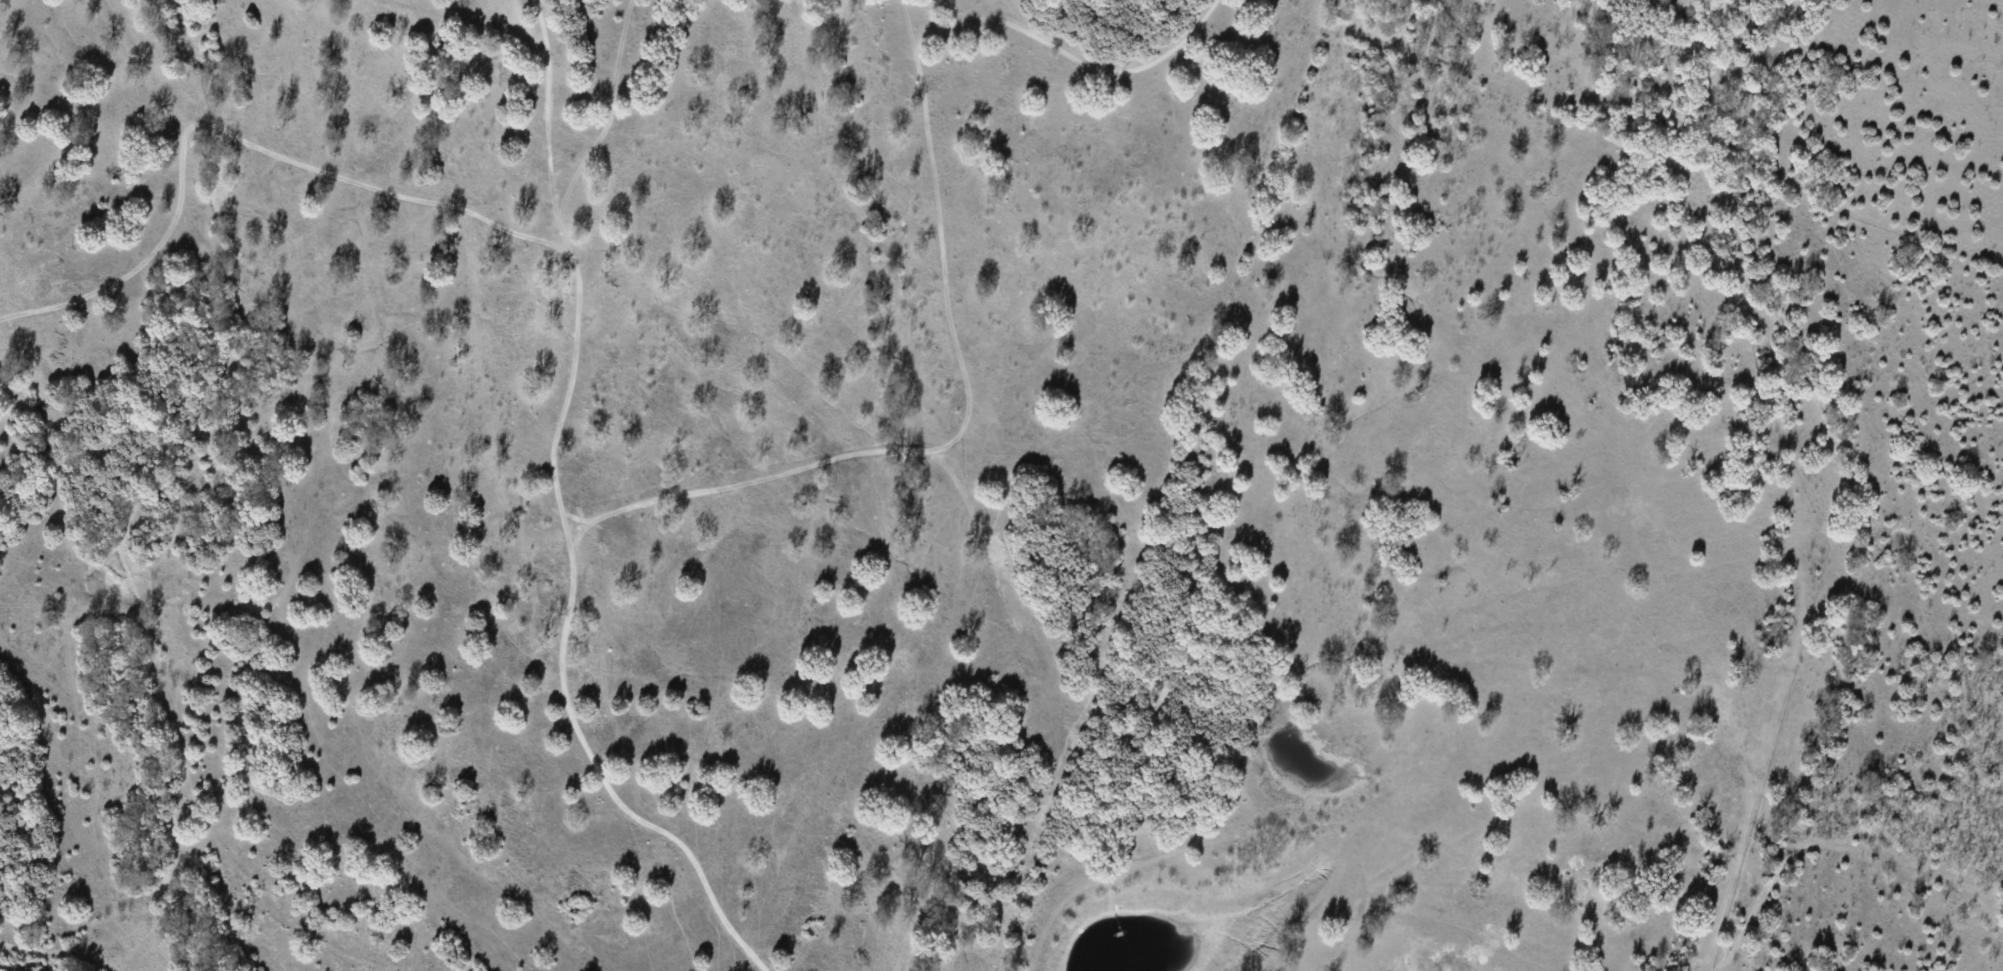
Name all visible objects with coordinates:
road: (1874, 886)
road: (1435, 943)

